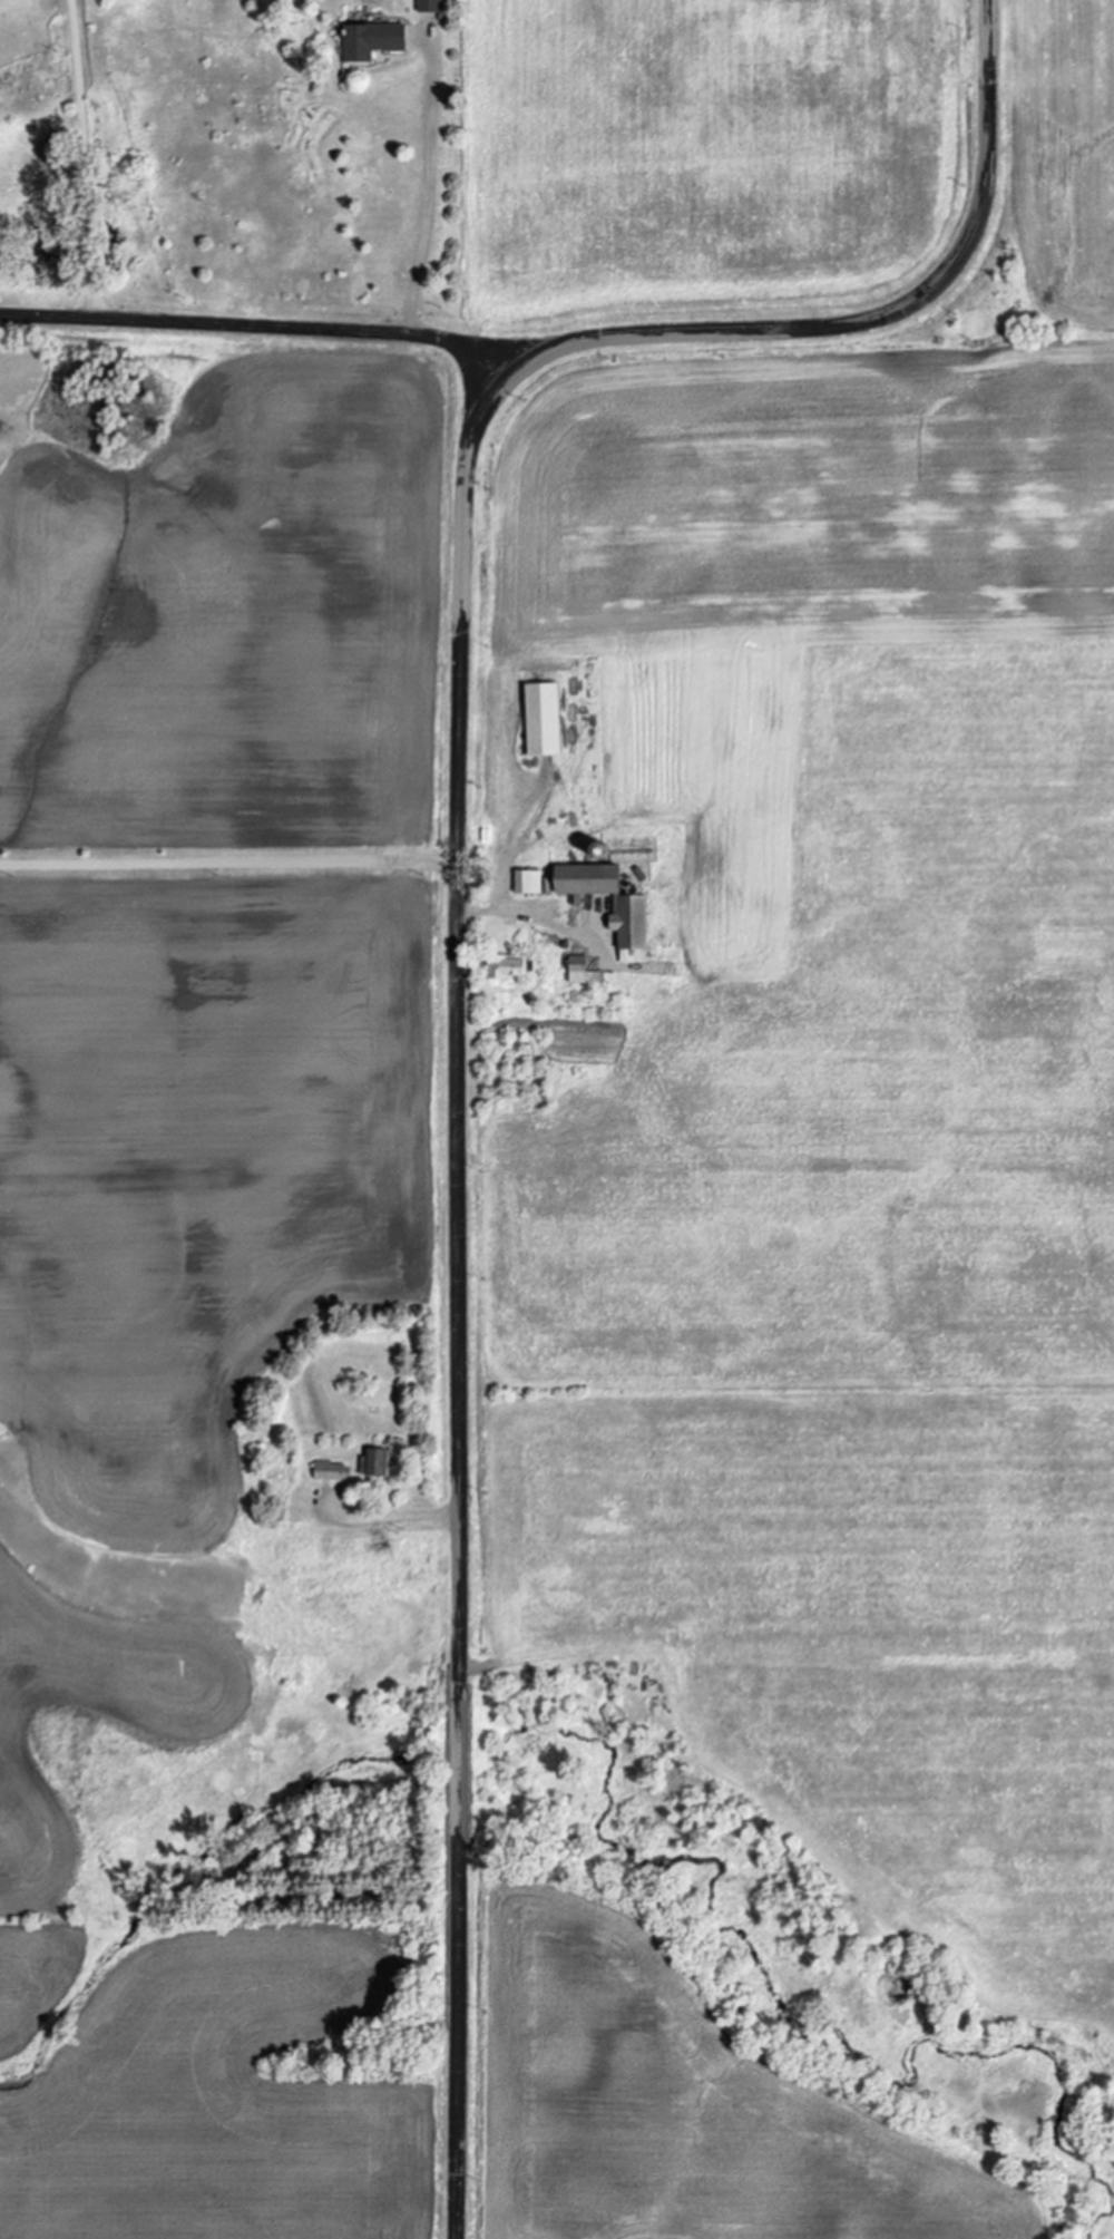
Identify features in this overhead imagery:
building: (426, 6)
building: (368, 41)
road: (86, 158)
road: (431, 187)
road: (253, 324)
building: (538, 720)
road: (228, 865)
road: (494, 906)
building: (627, 911)
road: (457, 922)
building: (505, 966)
building: (579, 972)
building: (373, 1461)
building: (329, 1470)
road: (394, 1517)

